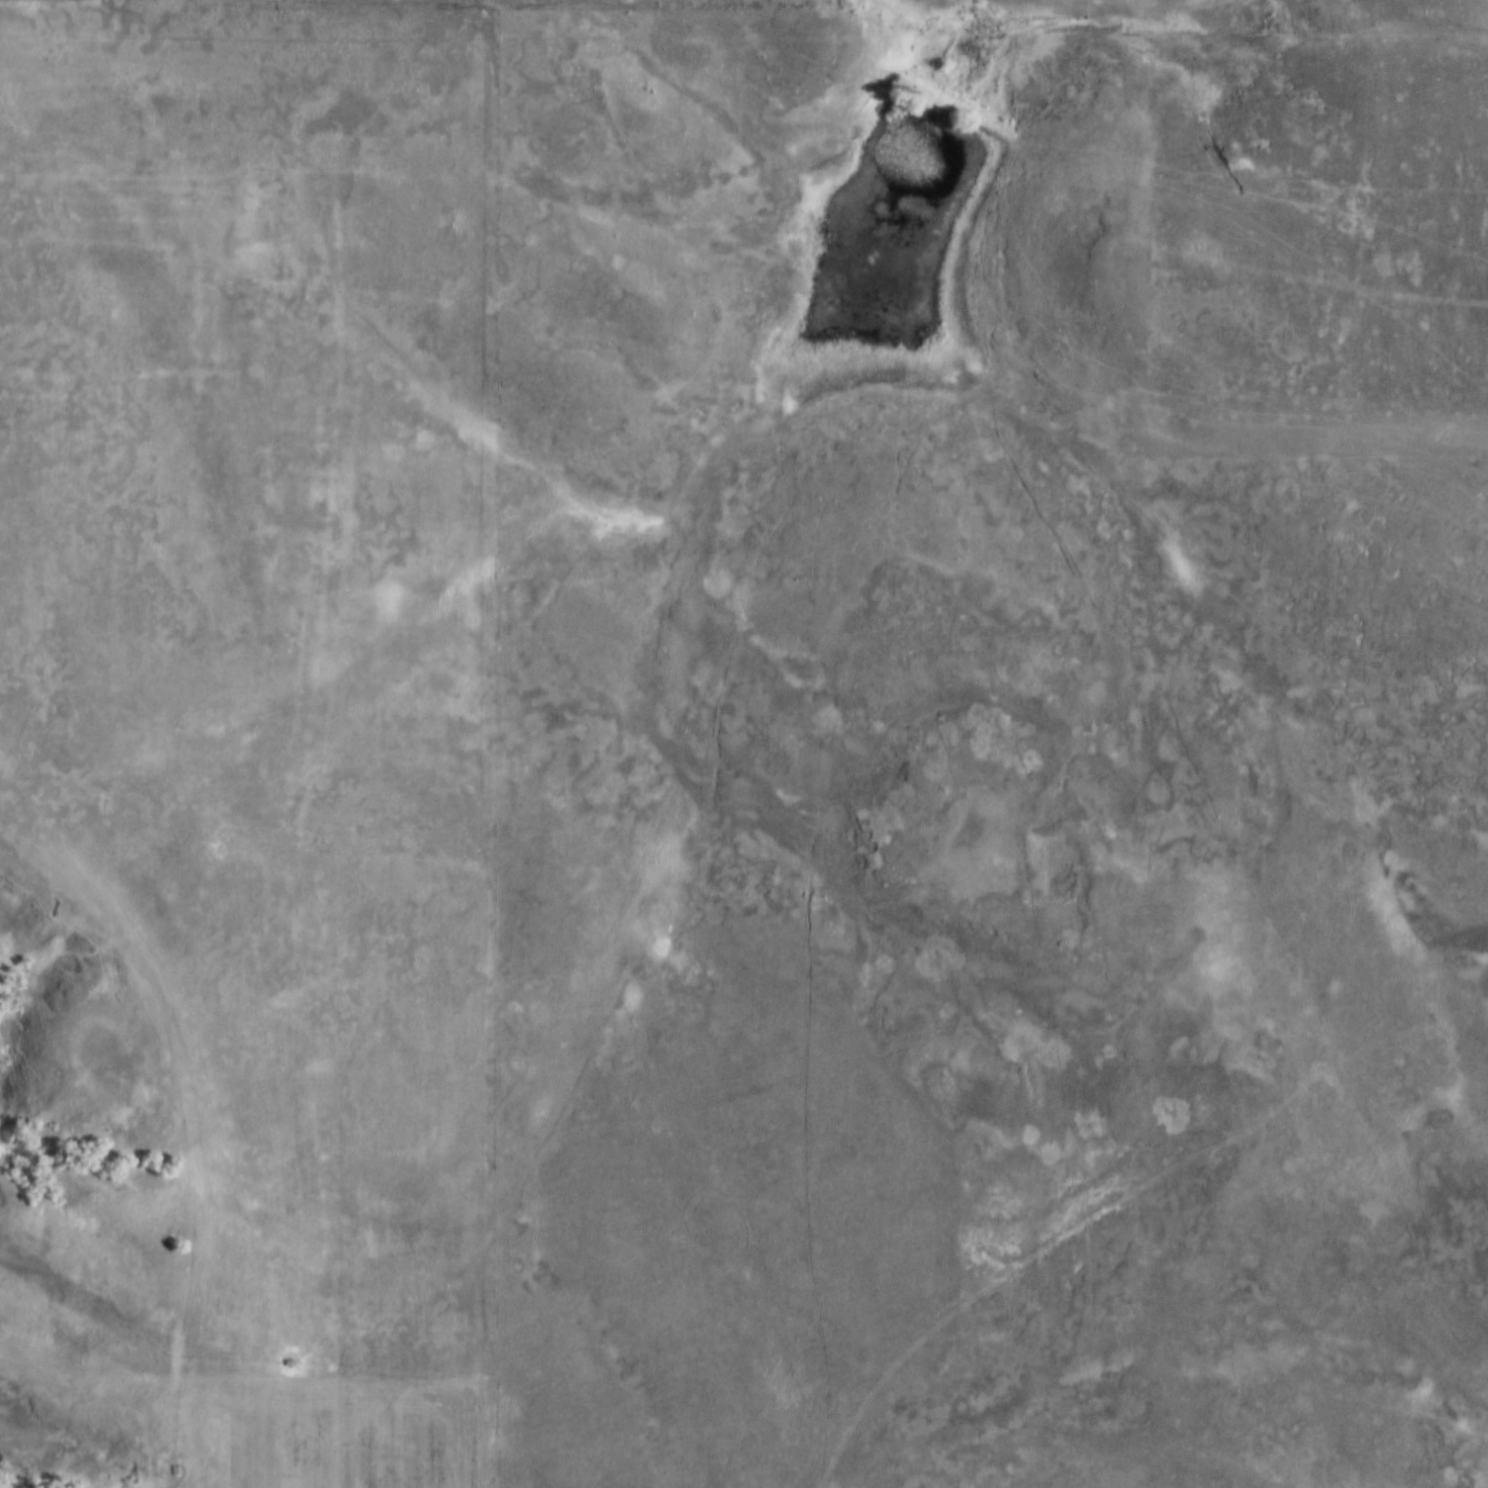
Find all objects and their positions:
road: (182, 1136)

